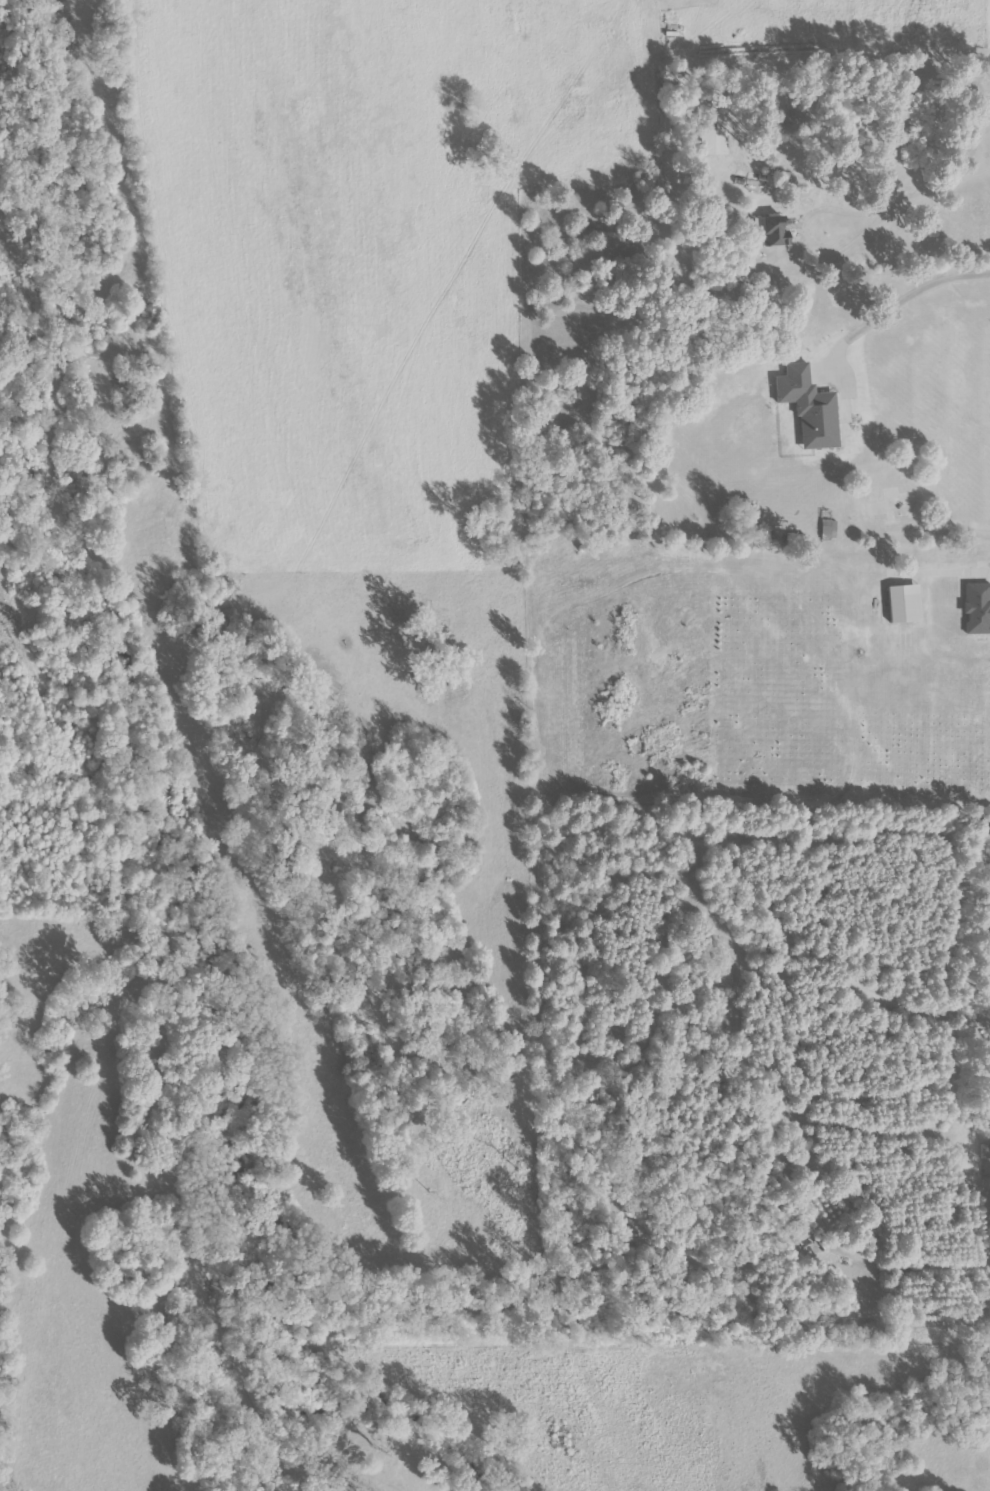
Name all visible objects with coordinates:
building: (716, 141)
building: (770, 229)
building: (809, 407)
building: (829, 529)
building: (977, 607)

